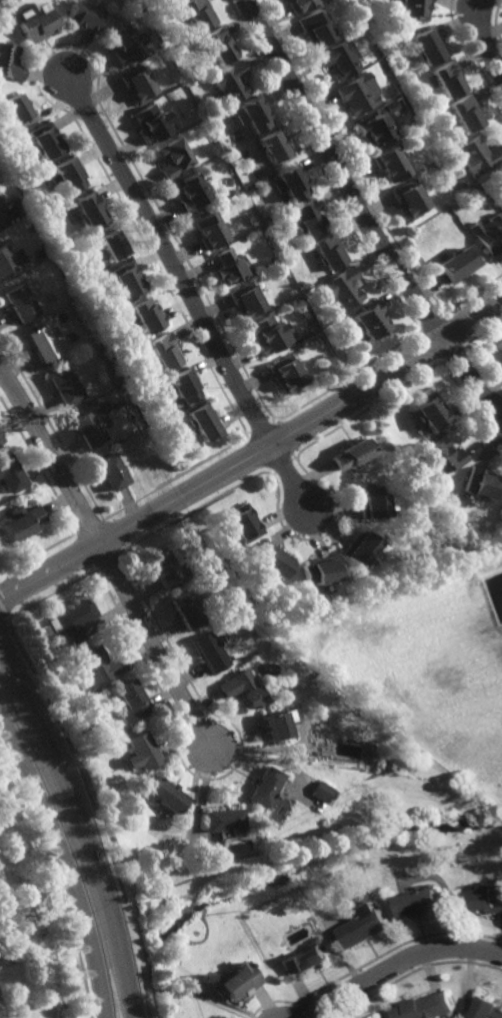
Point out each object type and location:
building: (168, 0)
building: (302, 4)
building: (414, 9)
building: (200, 12)
building: (85, 15)
building: (391, 15)
building: (37, 21)
building: (317, 27)
road: (484, 36)
building: (129, 42)
building: (221, 44)
building: (431, 45)
building: (342, 58)
building: (10, 61)
building: (452, 78)
building: (231, 81)
building: (140, 84)
building: (360, 93)
building: (17, 106)
building: (469, 112)
building: (256, 113)
building: (155, 123)
building: (379, 125)
building: (203, 129)
building: (46, 140)
building: (274, 144)
building: (480, 155)
building: (175, 157)
building: (394, 164)
building: (69, 174)
building: (291, 182)
building: (191, 192)
building: (412, 199)
building: (226, 207)
building: (89, 210)
building: (0, 211)
road: (366, 212)
building: (311, 218)
building: (210, 231)
building: (490, 233)
building: (112, 245)
building: (332, 251)
building: (5, 262)
building: (460, 264)
building: (231, 267)
building: (310, 277)
building: (128, 280)
building: (346, 287)
road: (189, 290)
building: (248, 301)
building: (19, 303)
building: (147, 316)
building: (373, 319)
building: (272, 335)
building: (92, 338)
building: (41, 344)
building: (501, 346)
building: (166, 352)
building: (289, 374)
building: (185, 386)
building: (64, 387)
building: (430, 413)
building: (206, 423)
building: (90, 428)
building: (0, 441)
road: (49, 453)
building: (352, 455)
building: (441, 456)
road: (254, 457)
building: (113, 471)
building: (9, 475)
building: (417, 478)
building: (479, 484)
building: (371, 503)
building: (20, 521)
building: (245, 523)
building: (358, 548)
building: (271, 558)
building: (166, 567)
building: (317, 569)
building: (189, 608)
building: (73, 618)
road: (154, 646)
building: (54, 648)
building: (211, 650)
building: (97, 665)
building: (242, 687)
building: (131, 700)
building: (276, 723)
building: (142, 748)
building: (265, 787)
building: (323, 791)
building: (163, 794)
building: (223, 820)
road: (83, 829)
road: (65, 859)
building: (488, 900)
building: (420, 903)
building: (366, 926)
building: (305, 960)
road: (396, 965)
building: (238, 982)
building: (424, 1008)
building: (485, 1010)

